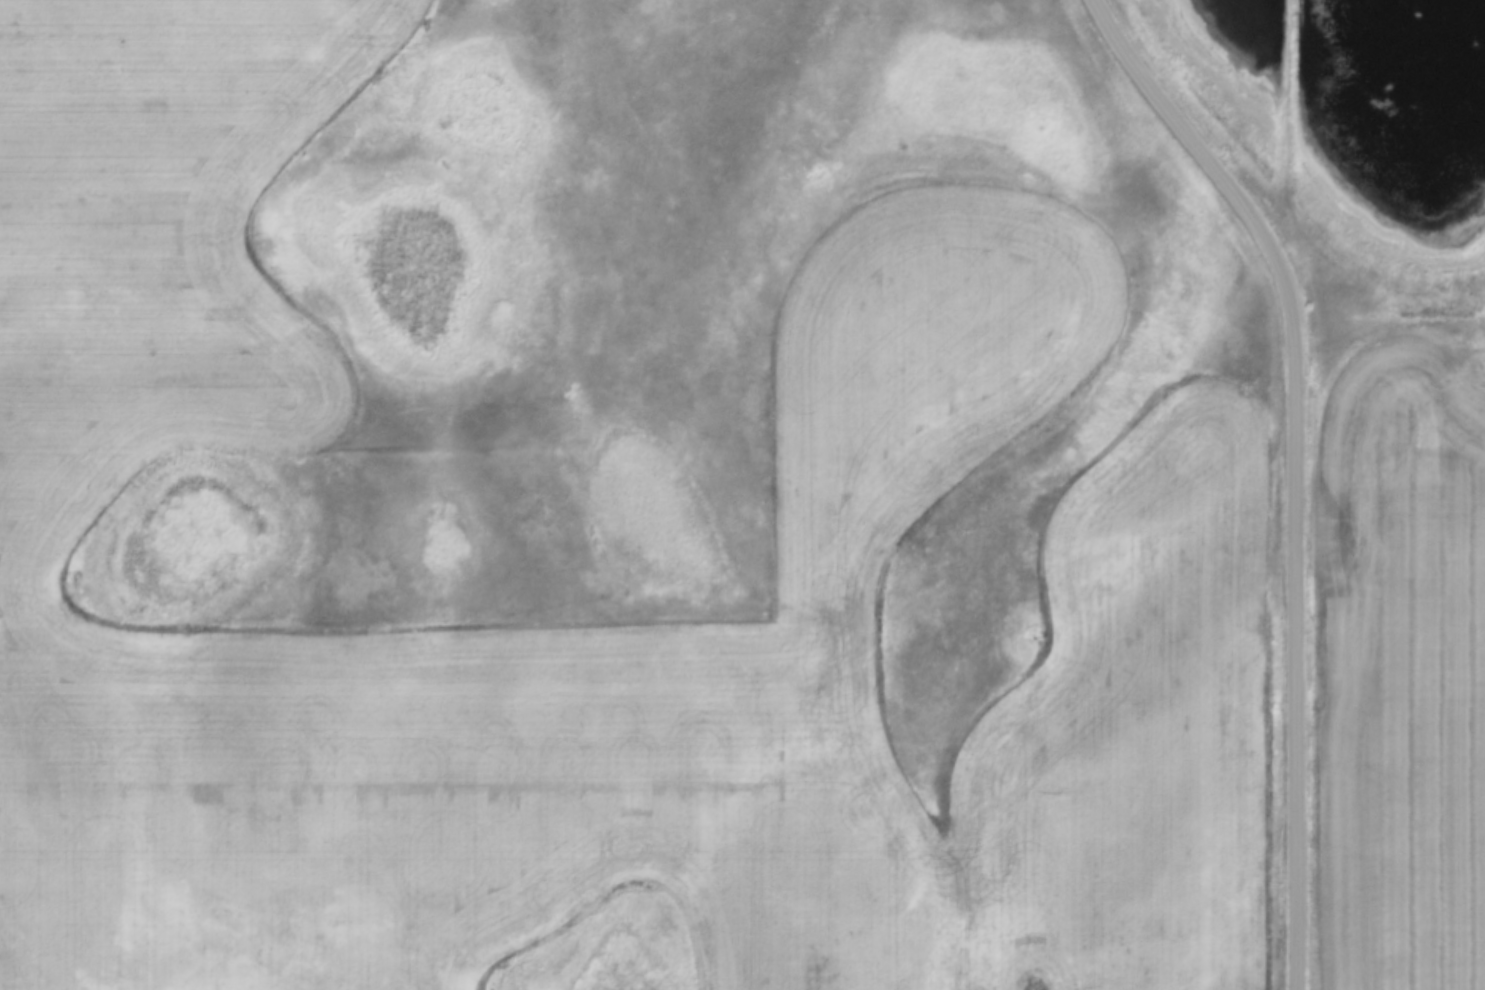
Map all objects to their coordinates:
road: (1296, 464)

